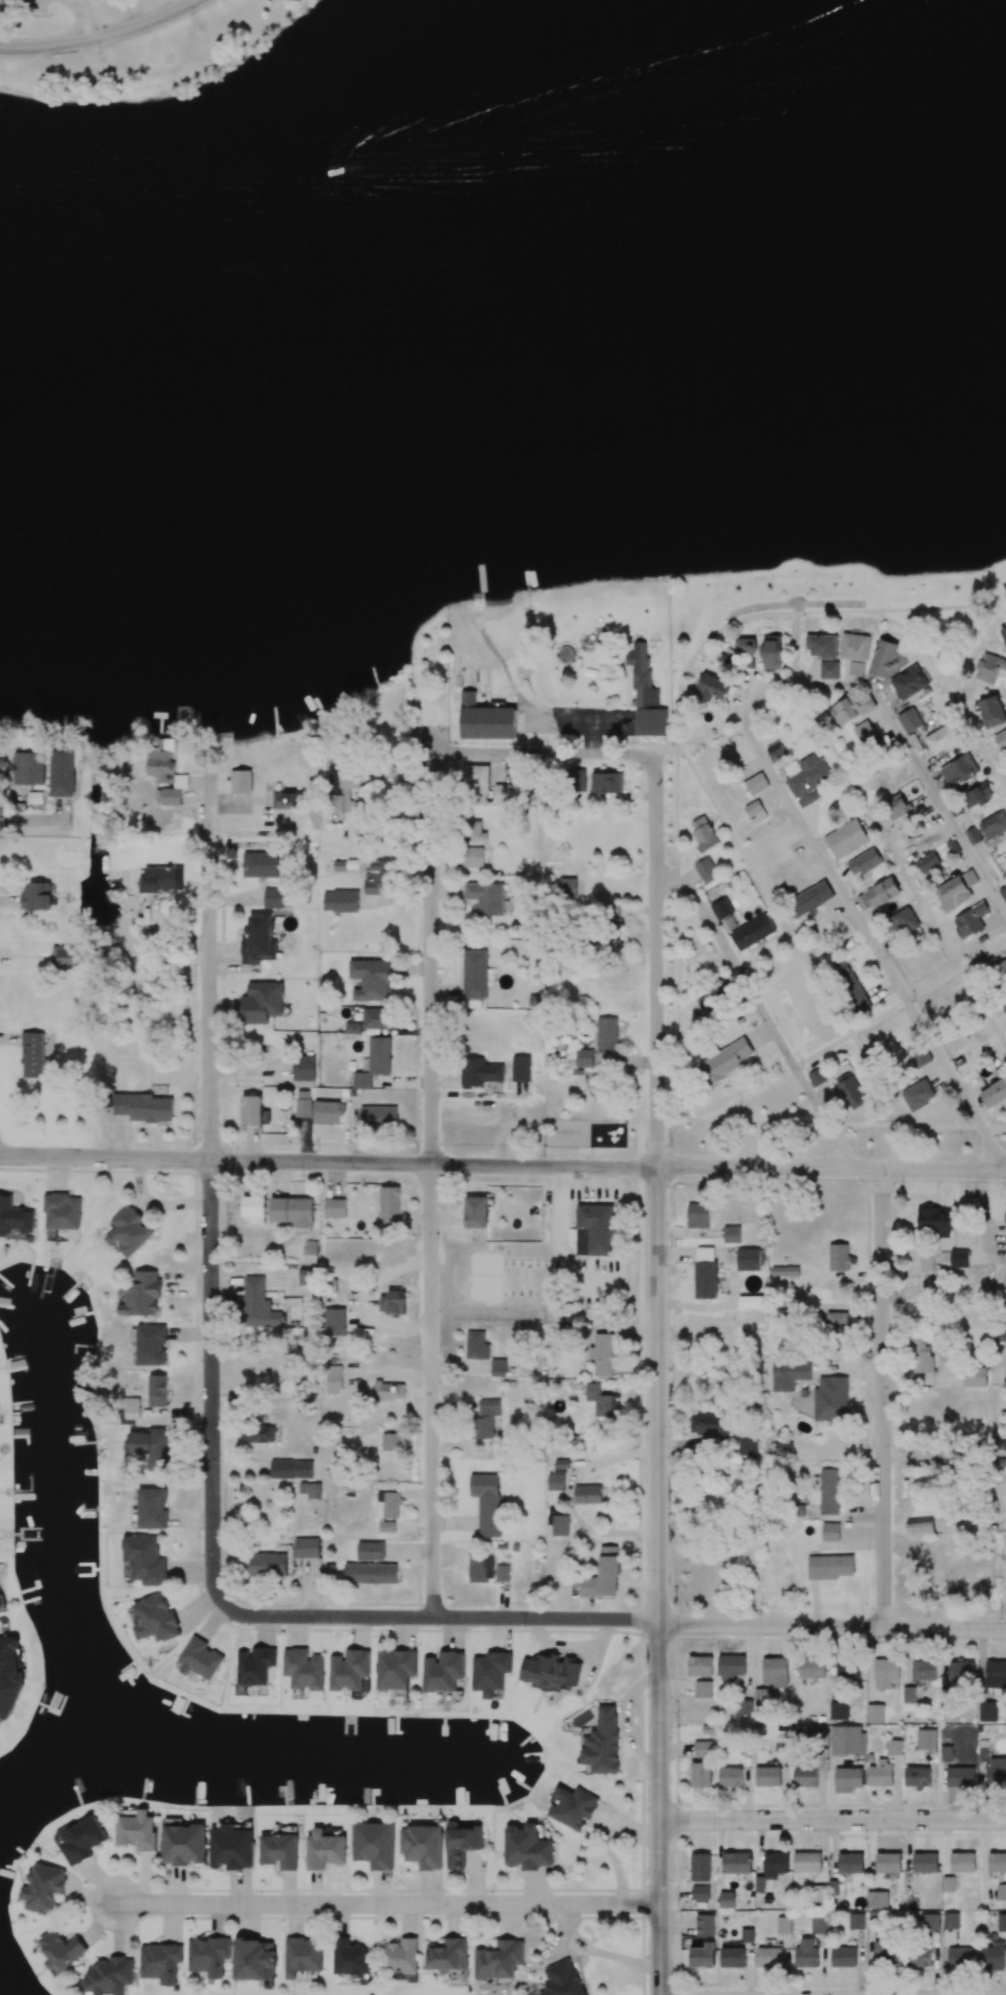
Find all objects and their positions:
parking lot: (23, 5)
road: (102, 37)
park: (495, 140)
building: (1003, 635)
building: (745, 645)
building: (822, 647)
building: (854, 647)
building: (772, 652)
building: (727, 655)
building: (882, 658)
building: (856, 668)
building: (989, 668)
building: (829, 670)
building: (908, 682)
road: (794, 685)
building: (712, 688)
building: (646, 696)
building: (849, 709)
building: (992, 711)
building: (483, 715)
building: (910, 720)
building: (864, 732)
building: (1001, 739)
building: (942, 740)
road: (432, 747)
building: (775, 752)
road: (543, 753)
building: (29, 768)
building: (393, 771)
building: (959, 771)
building: (165, 772)
building: (63, 775)
building: (474, 778)
building: (806, 779)
building: (240, 781)
building: (607, 782)
building: (756, 783)
building: (345, 786)
building: (507, 793)
building: (977, 795)
road: (937, 796)
building: (896, 806)
building: (755, 812)
building: (993, 826)
building: (476, 830)
building: (703, 834)
building: (973, 836)
building: (846, 839)
building: (472, 856)
building: (864, 862)
building: (928, 863)
building: (260, 864)
building: (706, 871)
building: (377, 877)
building: (161, 879)
building: (567, 887)
building: (882, 892)
building: (957, 892)
building: (1003, 892)
building: (37, 896)
building: (274, 897)
building: (486, 898)
building: (810, 900)
building: (340, 901)
building: (722, 909)
building: (611, 913)
building: (970, 920)
building: (903, 921)
building: (752, 932)
building: (259, 941)
building: (609, 943)
road: (876, 947)
building: (65, 956)
road: (655, 960)
building: (999, 973)
building: (474, 974)
building: (370, 979)
building: (850, 986)
road: (752, 994)
building: (262, 1002)
building: (706, 1003)
building: (1003, 1004)
building: (376, 1018)
building: (353, 1028)
road: (855, 1031)
building: (606, 1036)
building: (32, 1053)
building: (918, 1055)
building: (583, 1058)
building: (374, 1062)
building: (724, 1062)
building: (304, 1068)
building: (521, 1068)
building: (479, 1072)
building: (818, 1077)
building: (852, 1092)
building: (994, 1094)
building: (918, 1095)
building: (303, 1104)
building: (144, 1107)
building: (251, 1110)
building: (326, 1112)
building: (378, 1118)
road: (680, 1120)
road: (856, 1124)
road: (840, 1149)
road: (327, 1162)
road: (830, 1168)
road: (431, 1185)
road: (211, 1192)
building: (389, 1204)
building: (335, 1208)
building: (254, 1209)
building: (62, 1212)
building: (293, 1212)
building: (476, 1212)
building: (698, 1215)
building: (14, 1218)
building: (1005, 1222)
building: (594, 1230)
building: (128, 1232)
building: (732, 1234)
building: (942, 1234)
building: (310, 1251)
building: (839, 1257)
building: (751, 1259)
building: (784, 1271)
building: (705, 1273)
building: (306, 1277)
building: (141, 1294)
building: (750, 1302)
building: (393, 1303)
building: (258, 1305)
building: (334, 1321)
building: (837, 1322)
building: (151, 1345)
building: (477, 1346)
building: (603, 1354)
building: (921, 1355)
building: (498, 1367)
building: (789, 1375)
building: (975, 1377)
building: (334, 1379)
building: (157, 1390)
building: (389, 1390)
building: (831, 1399)
road: (882, 1399)
building: (602, 1401)
building: (129, 1410)
building: (486, 1420)
building: (710, 1424)
building: (390, 1443)
building: (151, 1447)
building: (292, 1469)
building: (310, 1490)
building: (152, 1508)
building: (145, 1559)
road: (657, 1580)
building: (0, 1607)
road: (610, 1620)
road: (832, 1819)
road: (387, 1905)
building: (1002, 1922)
building: (995, 1958)

